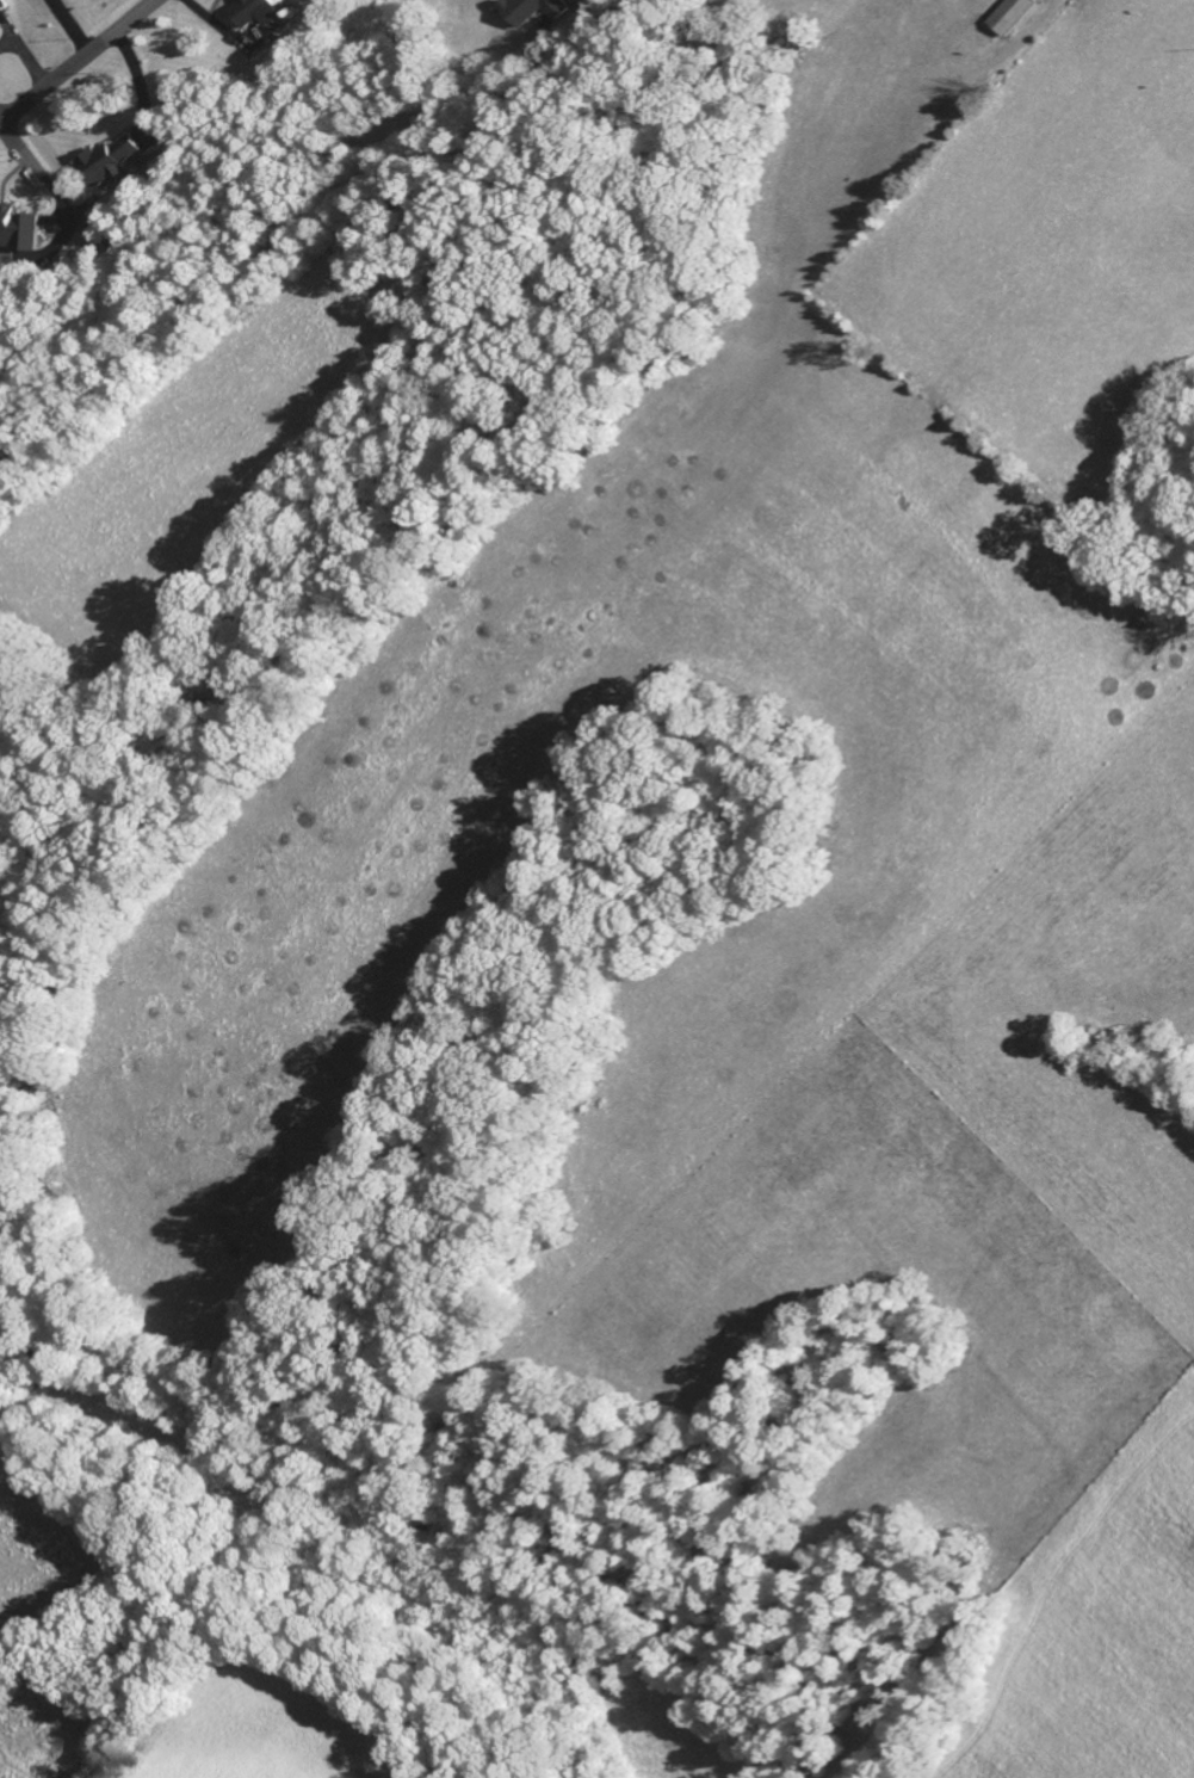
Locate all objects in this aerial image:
building: (2, 10)
building: (532, 12)
building: (254, 14)
building: (1009, 18)
road: (81, 60)
building: (111, 163)
building: (18, 233)

